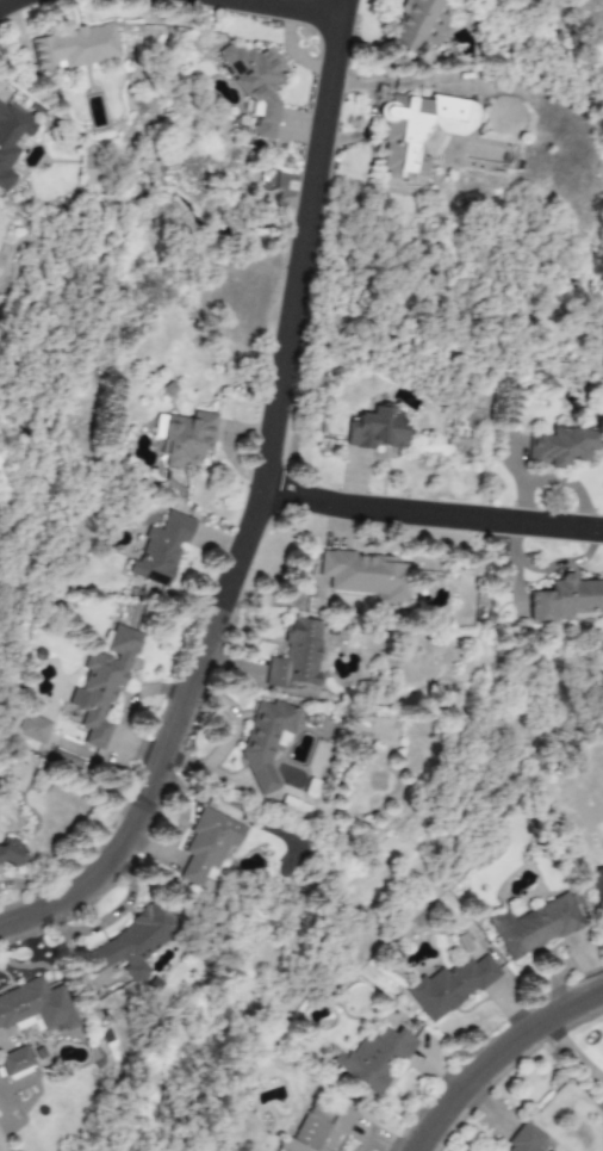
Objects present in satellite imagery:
road: (5, 4)
road: (285, 8)
building: (418, 24)
building: (73, 48)
building: (253, 85)
building: (417, 128)
building: (11, 141)
road: (292, 314)
building: (374, 428)
building: (186, 438)
building: (561, 447)
road: (437, 513)
building: (161, 550)
building: (365, 575)
building: (566, 600)
building: (297, 655)
building: (101, 682)
building: (31, 728)
building: (265, 742)
building: (27, 744)
building: (68, 759)
road: (145, 804)
building: (207, 843)
building: (10, 853)
building: (597, 895)
building: (558, 939)
building: (136, 941)
building: (460, 984)
building: (30, 1019)
road: (572, 1052)
building: (377, 1057)
road: (498, 1057)
building: (336, 1128)
building: (529, 1144)

